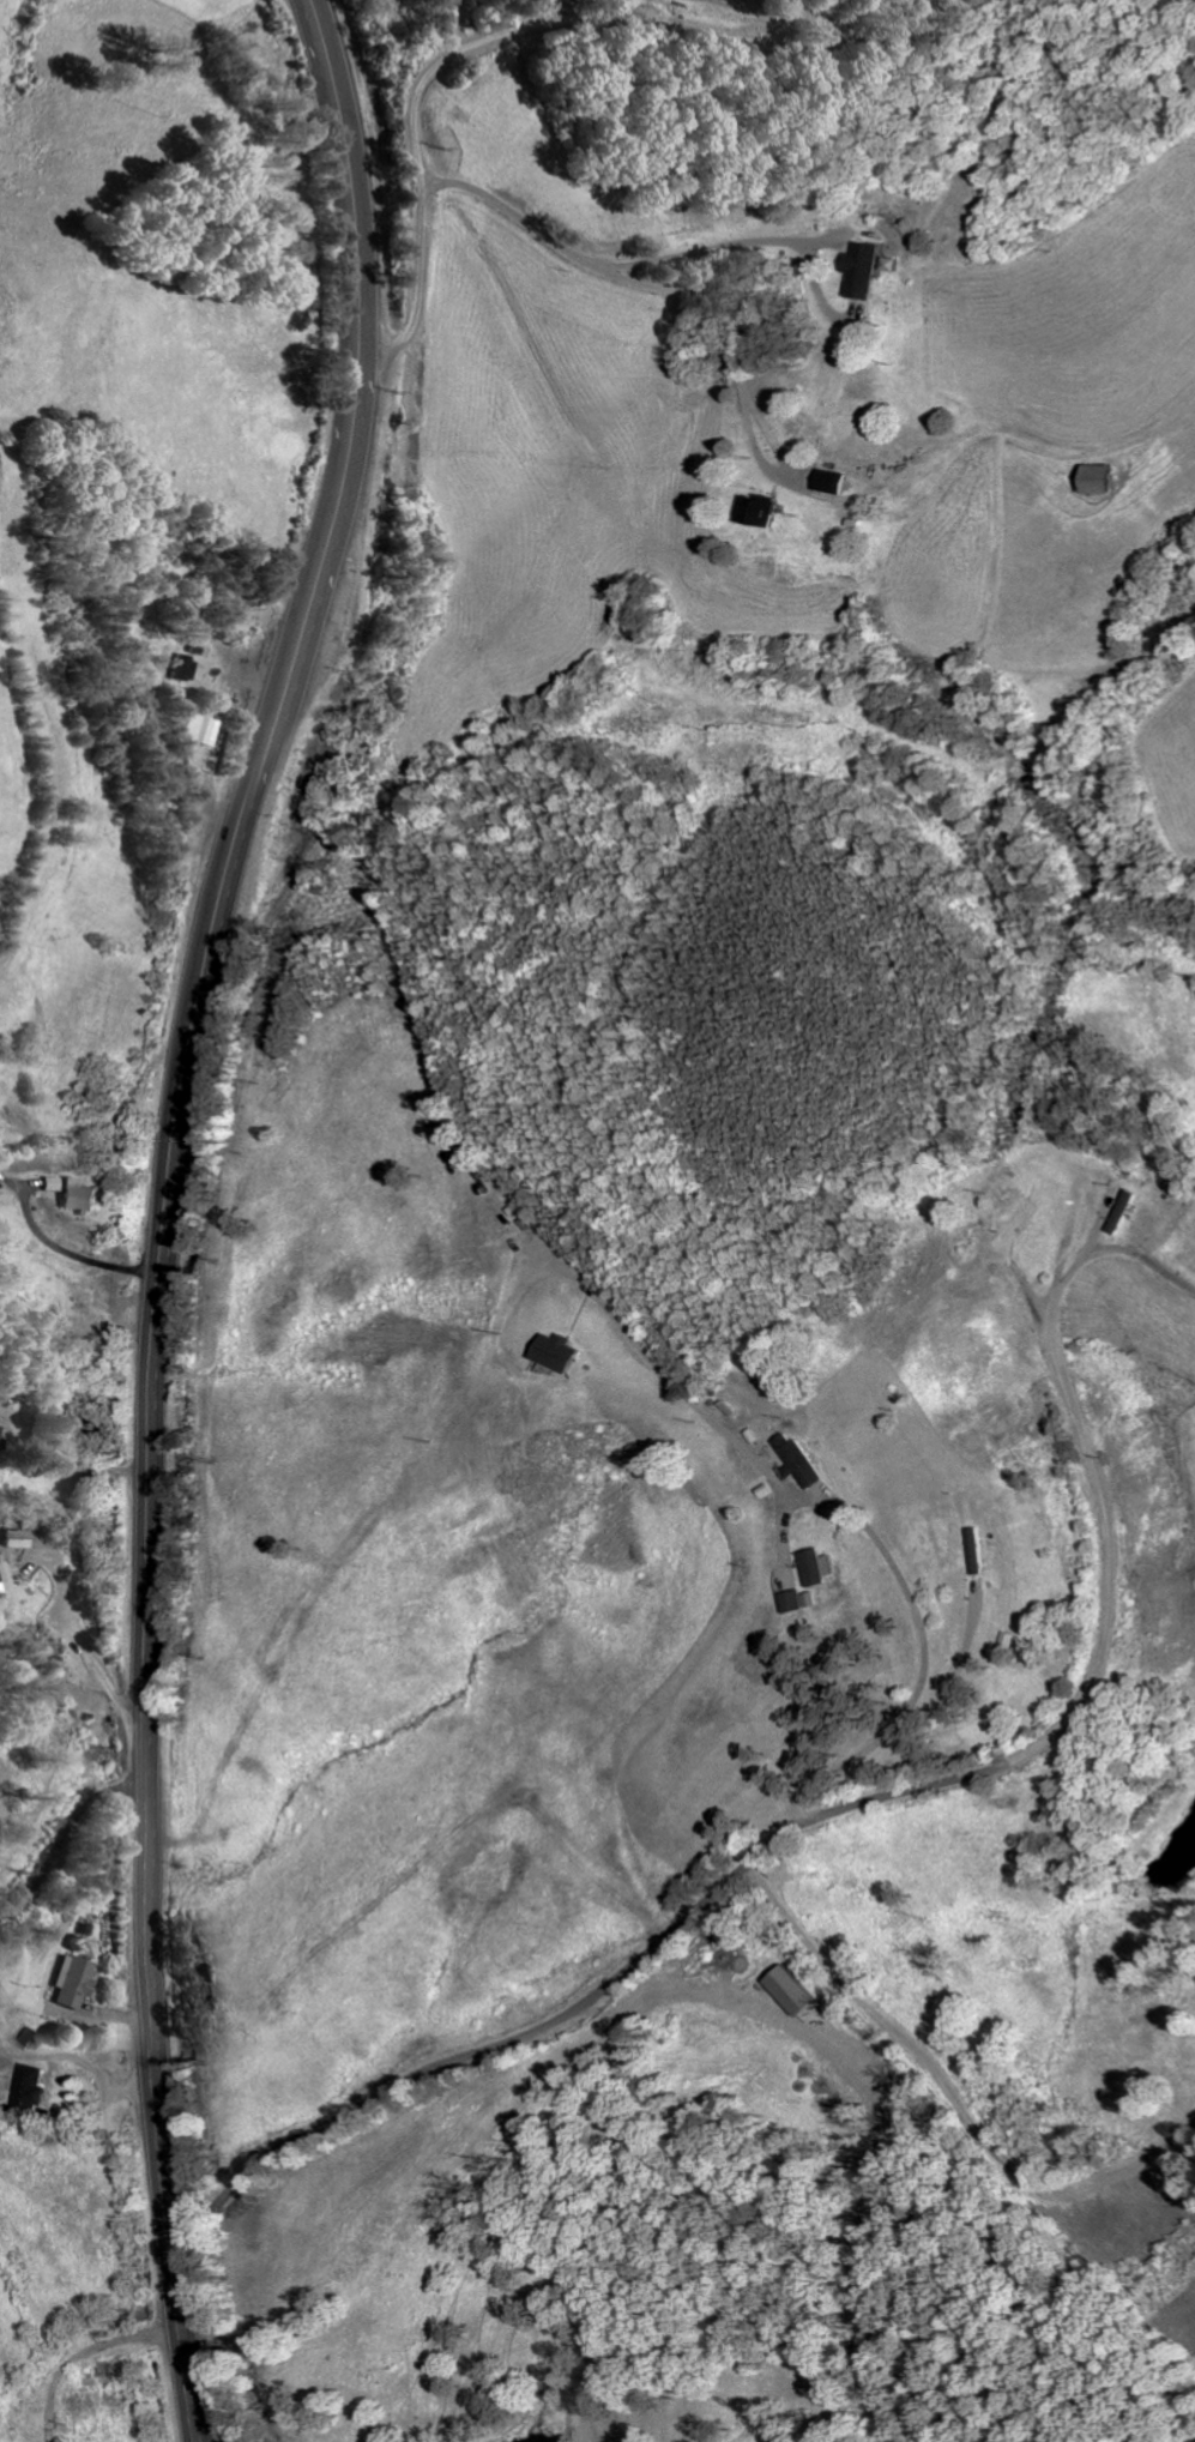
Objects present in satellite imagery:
road: (910, 38)
road: (493, 40)
road: (723, 248)
building: (859, 270)
road: (634, 278)
building: (1094, 478)
building: (827, 481)
building: (755, 511)
building: (183, 668)
building: (199, 729)
building: (77, 1196)
road: (159, 1206)
building: (1118, 1212)
building: (1009, 1223)
road: (68, 1247)
road: (1119, 1248)
building: (0, 1428)
building: (792, 1463)
road: (847, 1517)
building: (18, 1538)
building: (811, 1569)
building: (11, 1581)
building: (789, 1603)
road: (90, 1644)
road: (960, 1666)
road: (59, 1825)
road: (790, 1833)
building: (70, 1980)
building: (789, 1989)
road: (660, 1994)
building: (30, 2086)
road: (948, 2088)
road: (857, 2202)
road: (79, 2351)
road: (203, 2426)
building: (60, 2440)

